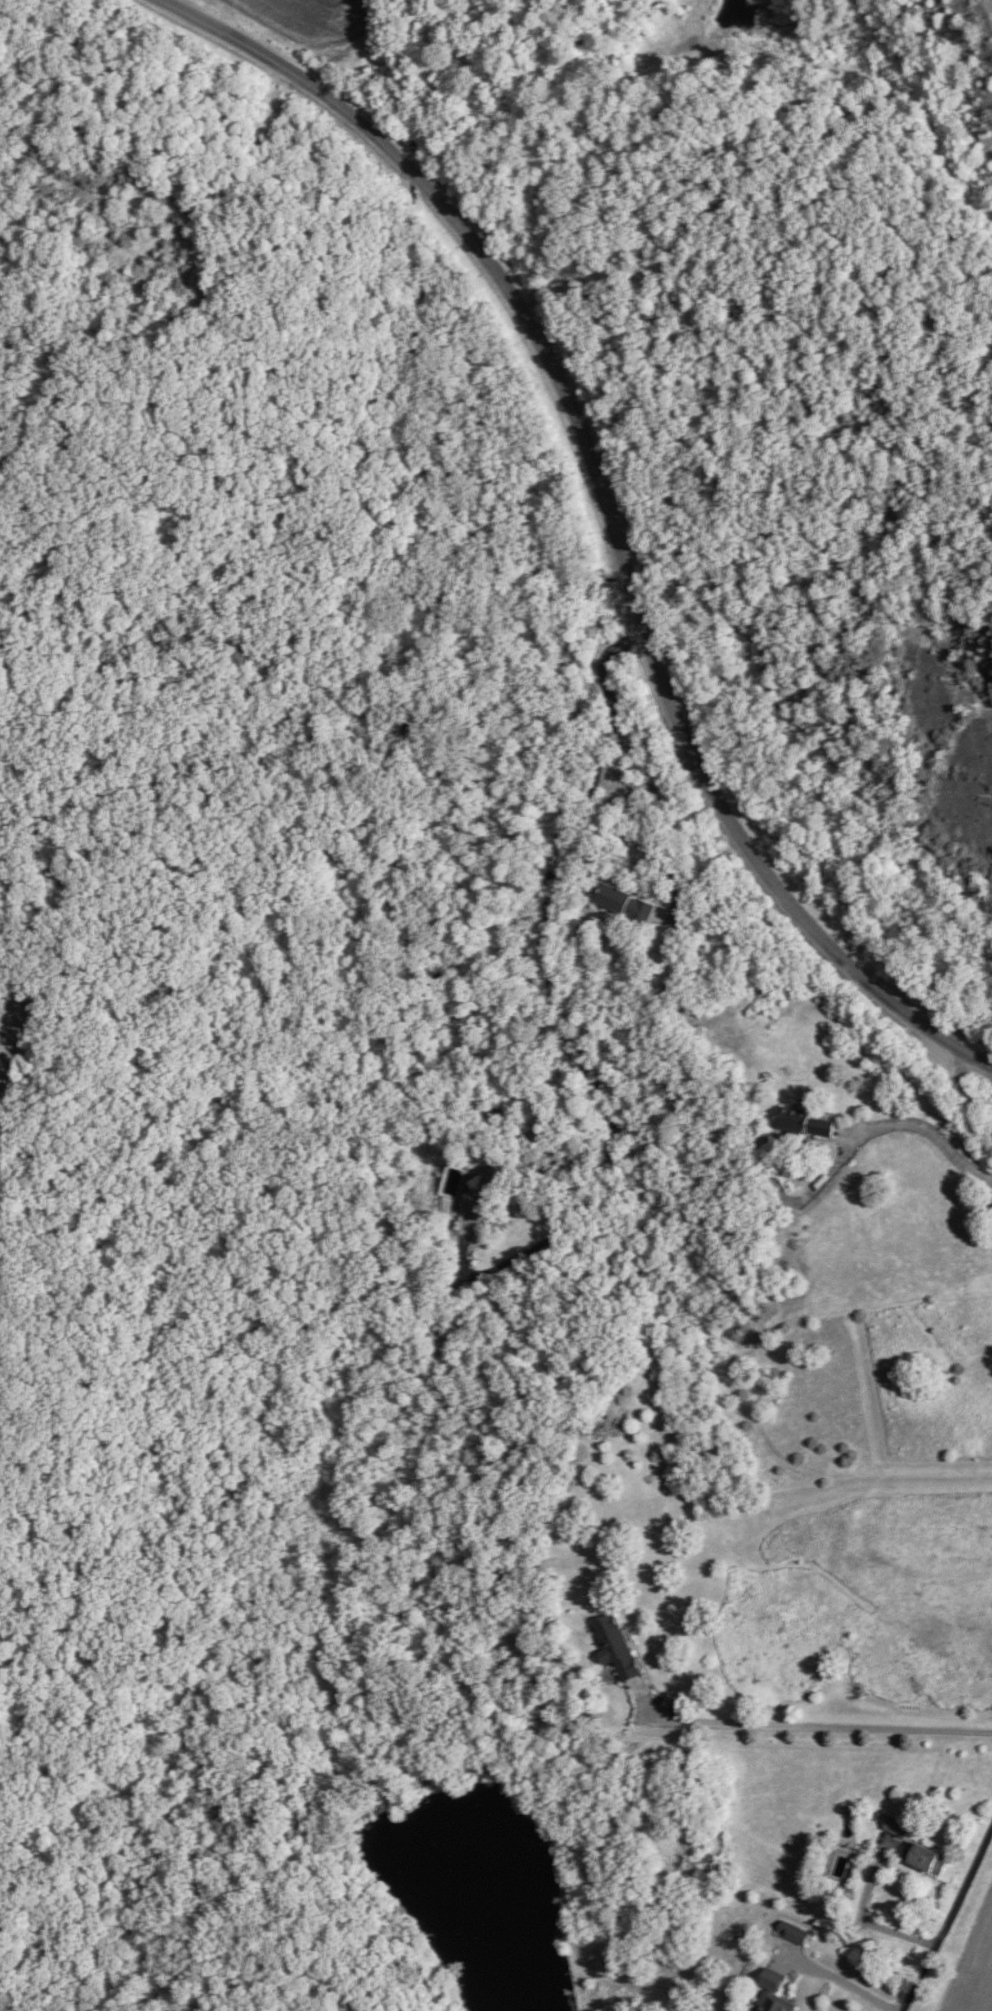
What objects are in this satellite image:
road: (611, 508)
building: (623, 904)
building: (801, 1122)
road: (926, 1138)
building: (476, 1190)
road: (528, 1355)
road: (580, 1512)
building: (613, 1647)
road: (809, 1727)
building: (895, 1827)
road: (871, 1920)
road: (950, 1921)
building: (791, 1931)
road: (830, 1975)
building: (770, 1992)

